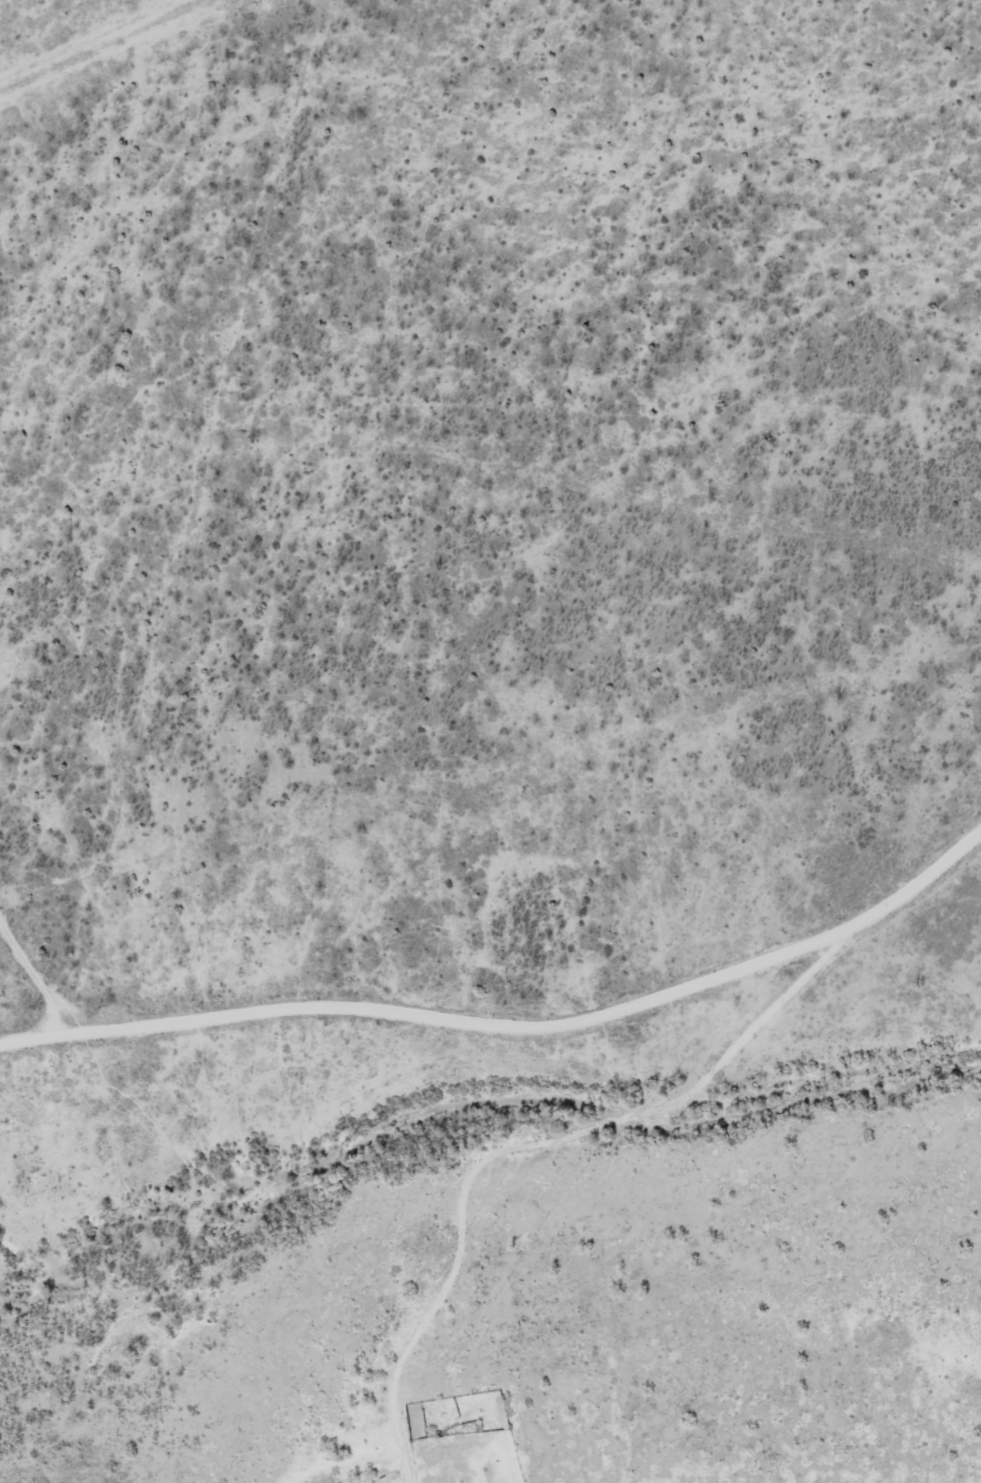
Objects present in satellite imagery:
road: (40, 983)
road: (517, 1038)

